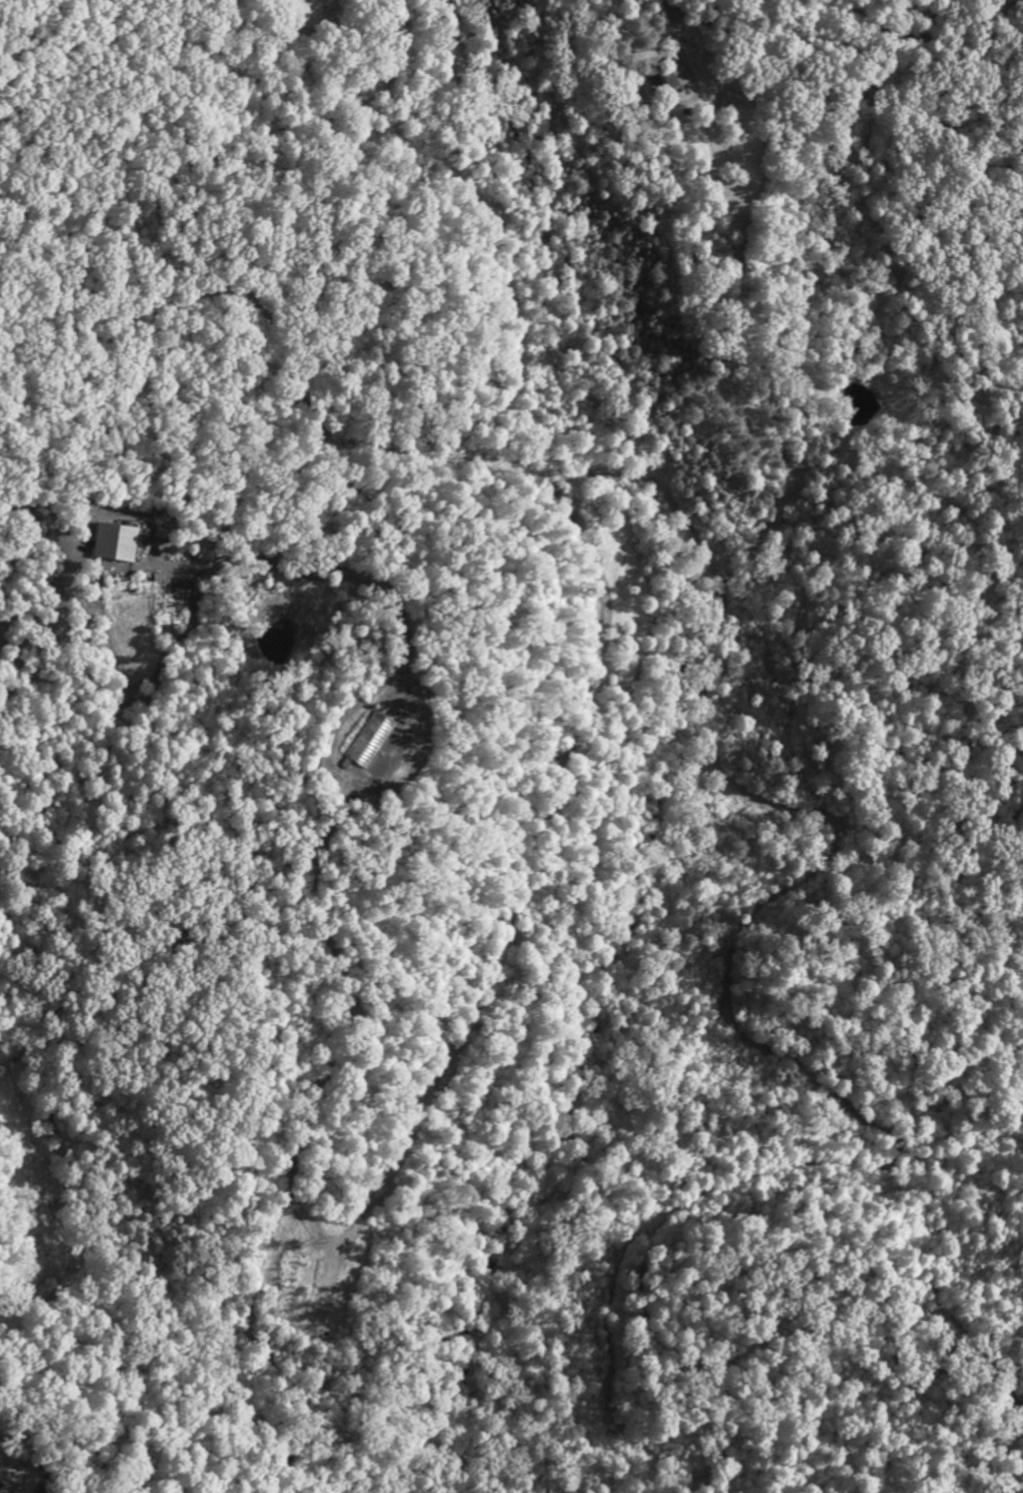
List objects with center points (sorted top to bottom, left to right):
building: (668, 82)
road: (25, 514)
building: (113, 545)
building: (164, 552)
building: (357, 741)

